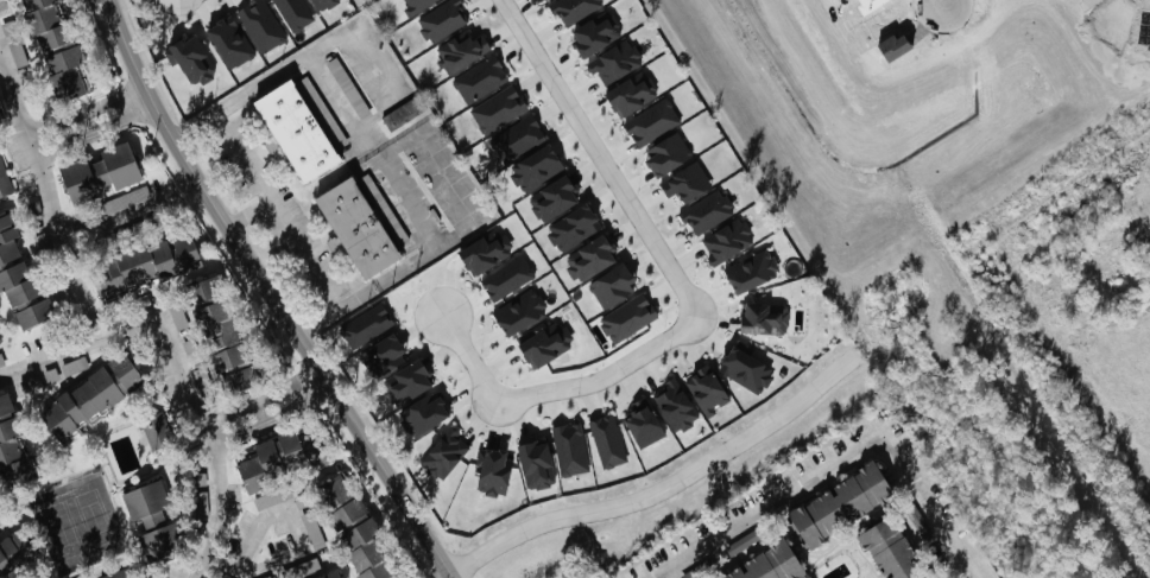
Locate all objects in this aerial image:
road: (941, 1)
building: (321, 4)
building: (416, 4)
building: (573, 8)
building: (293, 13)
building: (443, 19)
building: (46, 21)
building: (261, 24)
building: (595, 32)
building: (229, 39)
building: (461, 50)
building: (18, 52)
building: (191, 59)
building: (614, 61)
building: (64, 70)
building: (480, 77)
road: (264, 88)
building: (630, 93)
road: (15, 102)
building: (499, 108)
building: (0, 110)
building: (400, 113)
road: (88, 117)
building: (652, 121)
building: (301, 126)
building: (518, 138)
building: (666, 152)
road: (602, 159)
building: (535, 167)
building: (99, 171)
building: (5, 179)
building: (685, 180)
building: (552, 197)
building: (124, 198)
building: (707, 210)
road: (248, 215)
road: (116, 222)
building: (360, 222)
building: (573, 227)
building: (7, 236)
building: (727, 239)
road: (62, 241)
building: (485, 252)
building: (589, 256)
building: (751, 269)
building: (507, 277)
building: (17, 281)
building: (612, 282)
road: (267, 294)
building: (519, 310)
building: (33, 311)
building: (627, 316)
building: (764, 317)
building: (213, 322)
building: (366, 324)
building: (546, 343)
building: (381, 354)
road: (469, 357)
building: (1, 358)
road: (179, 368)
building: (745, 368)
road: (606, 376)
building: (238, 377)
building: (406, 381)
building: (31, 382)
building: (706, 388)
building: (89, 394)
building: (5, 402)
building: (675, 405)
road: (267, 406)
building: (423, 413)
building: (643, 423)
building: (157, 428)
building: (607, 439)
building: (570, 447)
building: (446, 451)
road: (846, 451)
building: (12, 452)
building: (270, 459)
building: (536, 463)
building: (493, 470)
road: (657, 484)
building: (340, 500)
building: (839, 502)
road: (283, 510)
building: (151, 516)
building: (891, 548)
building: (13, 550)
building: (365, 550)
building: (767, 564)
building: (115, 573)
building: (331, 574)

